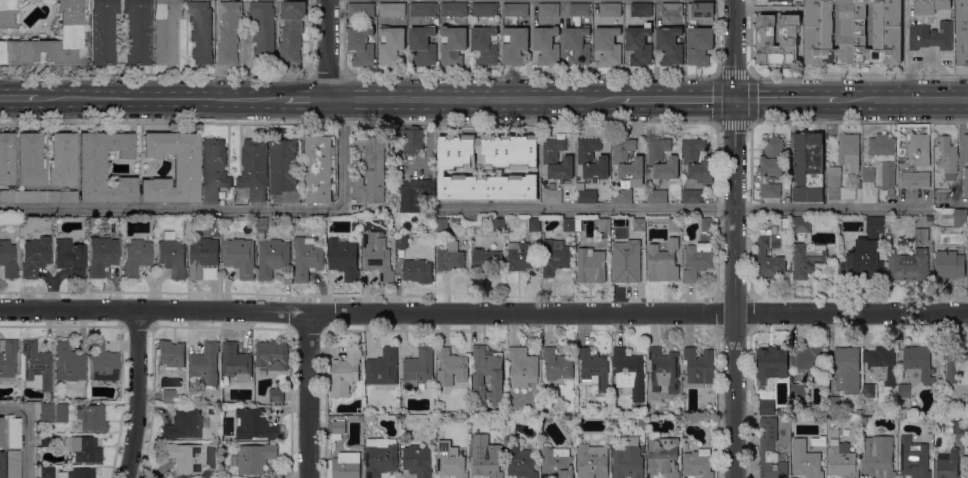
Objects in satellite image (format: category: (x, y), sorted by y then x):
building: (779, 0)
building: (930, 6)
building: (361, 9)
building: (392, 9)
building: (422, 9)
building: (454, 9)
building: (485, 9)
building: (515, 9)
building: (549, 9)
building: (579, 9)
building: (610, 9)
building: (641, 9)
building: (671, 9)
building: (701, 10)
building: (7, 13)
building: (658, 19)
building: (103, 31)
building: (138, 31)
building: (165, 31)
building: (263, 31)
building: (291, 31)
building: (853, 31)
building: (961, 31)
building: (200, 32)
building: (229, 32)
building: (777, 34)
building: (931, 36)
building: (51, 41)
building: (789, 41)
building: (639, 44)
building: (699, 44)
building: (361, 45)
building: (391, 45)
building: (423, 45)
building: (453, 45)
building: (484, 45)
building: (546, 45)
building: (577, 45)
building: (608, 45)
building: (670, 45)
building: (515, 46)
road: (327, 50)
road: (925, 62)
road: (748, 74)
road: (154, 75)
road: (327, 76)
road: (531, 76)
road: (786, 98)
road: (903, 98)
road: (677, 99)
traffic signals: (734, 99)
road: (18, 100)
road: (161, 100)
road: (306, 100)
road: (474, 100)
road: (858, 119)
road: (359, 121)
building: (413, 141)
building: (965, 148)
building: (919, 149)
building: (849, 150)
road: (959, 150)
building: (947, 156)
building: (771, 157)
building: (884, 157)
building: (691, 158)
building: (6, 159)
building: (61, 159)
building: (557, 159)
building: (592, 159)
building: (29, 160)
building: (662, 160)
building: (487, 167)
building: (808, 167)
building: (103, 168)
building: (185, 168)
building: (214, 168)
building: (254, 168)
building: (317, 169)
building: (626, 169)
building: (284, 171)
building: (369, 171)
building: (914, 179)
building: (965, 182)
building: (858, 184)
building: (838, 185)
building: (868, 185)
building: (770, 190)
building: (414, 193)
building: (7, 195)
building: (551, 195)
building: (586, 195)
building: (61, 196)
building: (657, 196)
building: (692, 196)
building: (30, 197)
building: (242, 201)
road: (682, 208)
road: (223, 209)
building: (947, 213)
building: (455, 218)
building: (617, 218)
building: (929, 218)
building: (960, 218)
building: (486, 219)
building: (386, 220)
building: (262, 223)
building: (639, 223)
building: (442, 224)
building: (499, 224)
building: (533, 224)
building: (569, 224)
building: (587, 224)
building: (674, 224)
building: (707, 224)
building: (801, 226)
building: (967, 229)
building: (579, 233)
building: (921, 233)
building: (261, 234)
building: (323, 234)
road: (734, 238)
building: (401, 242)
building: (866, 252)
building: (625, 255)
building: (35, 256)
building: (101, 256)
building: (203, 256)
building: (240, 256)
building: (377, 256)
building: (450, 256)
building: (521, 256)
building: (554, 256)
building: (172, 257)
building: (272, 257)
building: (307, 257)
building: (768, 257)
building: (70, 258)
building: (136, 258)
building: (343, 258)
building: (807, 258)
building: (8, 260)
building: (487, 260)
building: (663, 261)
building: (696, 262)
building: (950, 264)
building: (591, 265)
building: (909, 265)
building: (417, 270)
road: (483, 311)
road: (219, 327)
road: (655, 328)
road: (689, 328)
road: (190, 332)
road: (173, 335)
road: (663, 346)
building: (170, 354)
building: (271, 357)
building: (7, 359)
building: (809, 361)
building: (236, 362)
building: (68, 363)
building: (102, 363)
building: (206, 363)
building: (772, 363)
building: (881, 363)
building: (557, 364)
building: (918, 364)
building: (36, 365)
building: (957, 365)
building: (522, 366)
building: (383, 367)
building: (451, 367)
building: (698, 367)
building: (418, 368)
building: (594, 369)
building: (664, 369)
building: (847, 370)
building: (345, 372)
building: (628, 372)
building: (488, 373)
building: (791, 376)
building: (797, 390)
building: (869, 390)
building: (904, 390)
road: (137, 393)
building: (276, 394)
road: (307, 394)
road: (295, 395)
building: (51, 396)
road: (149, 396)
building: (167, 396)
building: (21, 398)
building: (833, 405)
building: (766, 407)
building: (859, 412)
building: (52, 413)
building: (92, 418)
building: (864, 419)
building: (642, 420)
building: (183, 424)
building: (255, 424)
building: (967, 424)
building: (958, 427)
building: (338, 428)
road: (28, 430)
building: (1, 432)
building: (13, 433)
building: (440, 434)
building: (47, 441)
building: (83, 449)
building: (644, 449)
building: (770, 450)
building: (380, 456)
building: (253, 457)
building: (663, 457)
building: (878, 457)
building: (184, 458)
building: (913, 458)
building: (627, 459)
building: (842, 459)
building: (418, 460)
building: (450, 460)
building: (593, 460)
building: (806, 460)
building: (521, 461)
building: (487, 462)
building: (557, 462)
building: (698, 463)
building: (947, 464)
building: (1, 465)
building: (14, 465)
building: (346, 465)
building: (967, 468)
building: (47, 472)
building: (81, 473)
road: (298, 475)
road: (662, 475)
road: (383, 476)
road: (448, 476)
road: (625, 476)
road: (694, 476)
road: (843, 476)
road: (914, 477)

